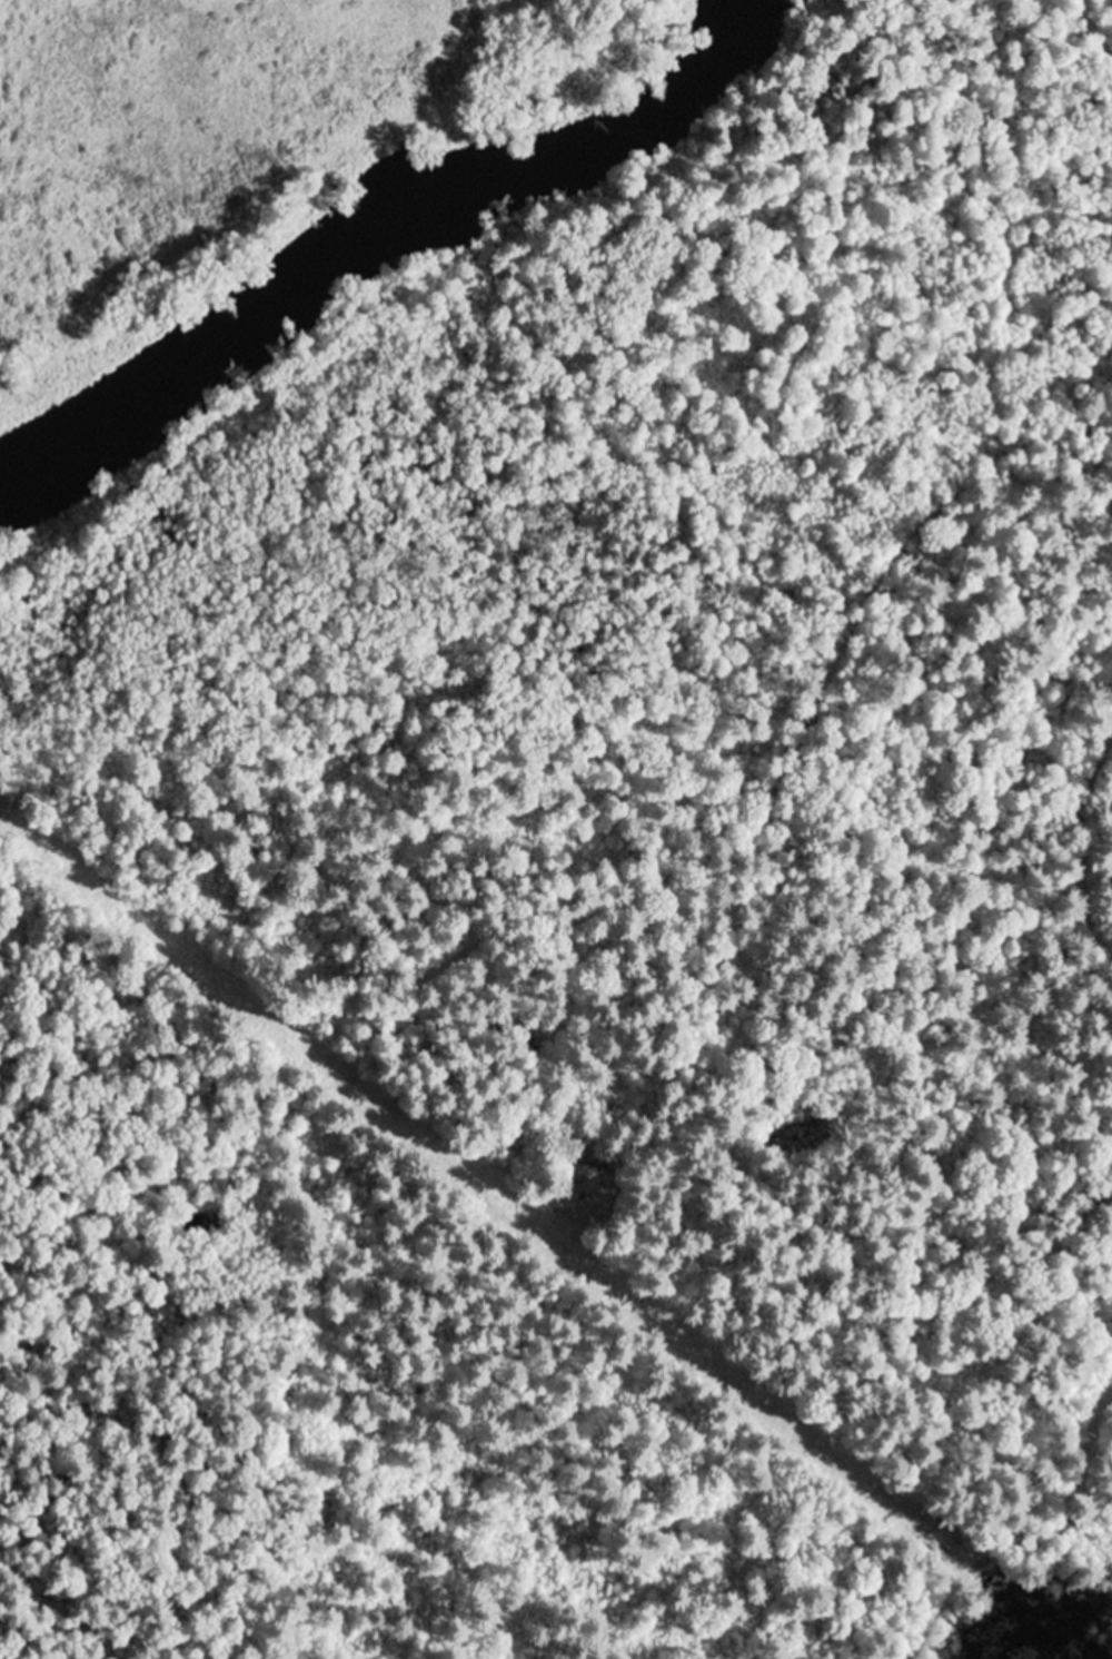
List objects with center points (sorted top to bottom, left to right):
river: (357, 240)

